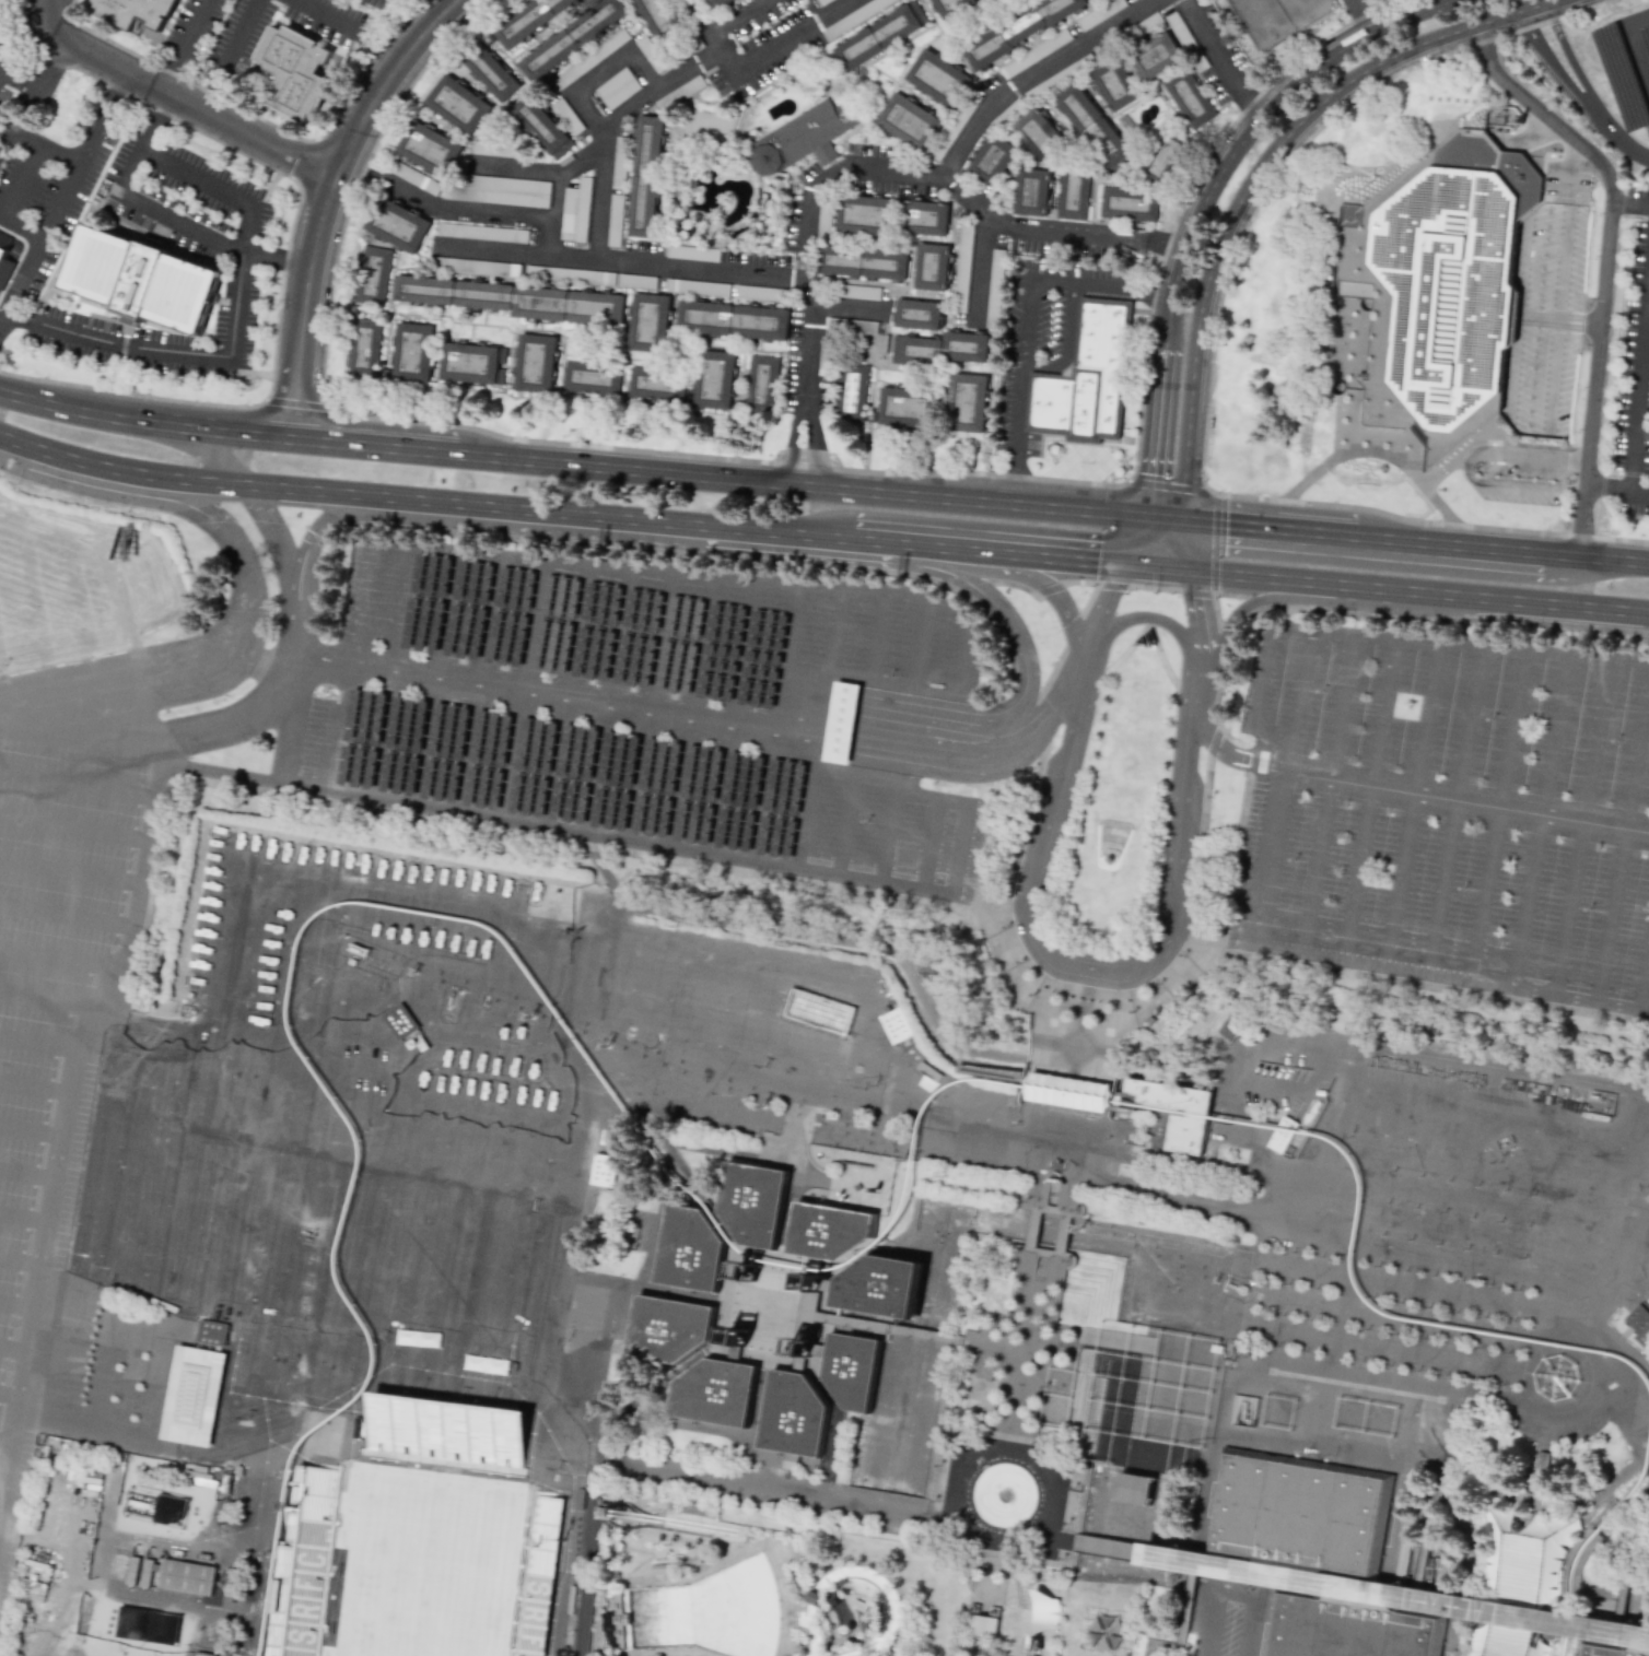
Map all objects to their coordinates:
building: (638, 0)
building: (1094, 0)
building: (820, 1)
building: (1102, 2)
park: (1302, 2)
building: (720, 4)
building: (954, 5)
building: (870, 8)
building: (136, 12)
road: (1404, 14)
building: (659, 15)
road: (733, 16)
building: (1095, 16)
road: (1355, 16)
park: (1262, 19)
building: (534, 22)
building: (1149, 23)
road: (1455, 25)
road: (347, 27)
building: (1024, 32)
building: (885, 37)
road: (1636, 39)
building: (578, 40)
building: (1186, 42)
road: (178, 44)
road: (1212, 45)
building: (650, 54)
building: (1036, 54)
road: (227, 55)
road: (1567, 55)
building: (588, 59)
road: (759, 59)
road: (1548, 60)
road: (1, 69)
road: (1308, 69)
road: (1, 72)
road: (597, 75)
building: (299, 77)
building: (491, 77)
building: (940, 79)
road: (46, 86)
building: (616, 89)
road: (1323, 92)
building: (680, 93)
road: (171, 96)
road: (1248, 104)
building: (458, 109)
building: (566, 116)
road: (154, 121)
building: (911, 126)
building: (542, 128)
road: (610, 129)
building: (799, 136)
building: (948, 137)
road: (15, 139)
road: (1615, 139)
building: (1101, 148)
building: (491, 149)
road: (958, 149)
building: (651, 150)
building: (433, 154)
road: (362, 162)
building: (619, 163)
road: (27, 169)
road: (548, 172)
road: (831, 173)
building: (416, 178)
road: (1214, 178)
building: (499, 190)
road: (1239, 195)
road: (66, 196)
road: (327, 199)
road: (1618, 202)
road: (1637, 204)
building: (644, 209)
road: (460, 211)
building: (575, 211)
road: (554, 215)
building: (615, 220)
building: (824, 221)
road: (187, 227)
building: (398, 230)
building: (481, 233)
building: (891, 240)
road: (1163, 244)
building: (692, 252)
building: (4, 259)
road: (278, 259)
road: (1602, 259)
building: (476, 267)
building: (962, 267)
road: (681, 269)
road: (981, 269)
road: (1176, 274)
building: (580, 275)
building: (376, 278)
building: (142, 279)
road: (1203, 284)
building: (697, 287)
building: (995, 289)
building: (861, 292)
building: (760, 293)
road: (1146, 295)
road: (236, 297)
building: (430, 297)
road: (1648, 301)
building: (486, 302)
building: (541, 307)
road: (846, 307)
building: (1441, 309)
building: (594, 312)
road: (1516, 317)
road: (1559, 319)
road: (5, 320)
road: (1556, 320)
building: (736, 322)
building: (651, 324)
road: (1166, 324)
building: (865, 327)
road: (1026, 330)
road: (1063, 341)
building: (365, 353)
road: (1212, 355)
building: (414, 357)
building: (473, 366)
building: (538, 369)
road: (1161, 376)
building: (926, 377)
building: (593, 379)
building: (717, 381)
building: (1088, 381)
building: (660, 383)
building: (763, 385)
road: (1638, 389)
building: (852, 391)
road: (66, 406)
road: (1188, 414)
road: (213, 428)
road: (794, 437)
road: (815, 439)
road: (375, 444)
road: (1371, 450)
road: (1500, 451)
road: (210, 455)
road: (1153, 460)
road: (120, 469)
road: (724, 477)
road: (1516, 485)
road: (1605, 486)
road: (1014, 488)
road: (1638, 491)
road: (458, 503)
road: (197, 506)
road: (1071, 508)
traffic signals: (1147, 517)
road: (1165, 518)
traffic signals: (1182, 520)
road: (1267, 527)
road: (762, 531)
road: (277, 540)
road: (319, 540)
road: (1135, 540)
road: (1448, 543)
road: (1184, 545)
road: (989, 551)
road: (1594, 557)
road: (911, 563)
traffic signals: (1124, 564)
road: (1155, 567)
traffic signals: (1186, 571)
road: (734, 575)
road: (1417, 591)
road: (1279, 598)
road: (1156, 619)
road: (833, 629)
road: (876, 634)
road: (917, 642)
road: (1017, 642)
road: (1396, 643)
road: (256, 656)
road: (318, 666)
road: (388, 670)
road: (431, 677)
road: (113, 681)
road: (476, 683)
road: (521, 689)
road: (565, 695)
road: (606, 700)
road: (590, 701)
road: (264, 702)
road: (1303, 703)
road: (646, 704)
parking lot: (631, 705)
road: (690, 709)
road: (733, 715)
road: (772, 720)
building: (842, 720)
road: (842, 720)
road: (296, 726)
road: (1036, 728)
road: (82, 729)
road: (338, 729)
road: (914, 732)
road: (1225, 745)
road: (1330, 779)
road: (78, 782)
road: (1371, 786)
road: (1415, 791)
road: (371, 798)
road: (1455, 798)
road: (1457, 798)
parking lot: (1450, 800)
road: (1499, 806)
road: (805, 817)
road: (1541, 819)
road: (845, 824)
road: (1580, 825)
road: (74, 829)
road: (886, 831)
road: (1626, 836)
road: (1277, 842)
road: (928, 843)
road: (599, 864)
road: (70, 877)
road: (914, 888)
road: (990, 900)
road: (67, 918)
road: (1407, 939)
road: (63, 956)
parking lot: (54, 958)
road: (1096, 972)
road: (1644, 973)
road: (47, 1002)
building: (399, 1021)
building: (899, 1026)
building: (1230, 1026)
road: (37, 1044)
building: (931, 1070)
road: (34, 1088)
road: (1475, 1106)
theme park: (806, 1107)
road: (65, 1111)
building: (1186, 1132)
road: (30, 1135)
building: (1283, 1135)
building: (1247, 1140)
railway: (669, 1167)
building: (603, 1171)
road: (26, 1176)
road: (1584, 1187)
building: (756, 1202)
road: (1196, 1202)
road: (23, 1217)
building: (832, 1231)
fountain: (939, 1234)
building: (1453, 1246)
building: (691, 1250)
building: (797, 1256)
road: (20, 1260)
fountain: (1174, 1284)
building: (881, 1287)
road: (15, 1309)
building: (1640, 1325)
building: (669, 1329)
building: (211, 1332)
road: (1609, 1339)
road: (12, 1351)
building: (852, 1370)
building: (716, 1393)
building: (191, 1399)
building: (794, 1416)
road: (564, 1419)
building: (692, 1424)
building: (1101, 1433)
road: (132, 1437)
building: (447, 1437)
road: (4, 1438)
building: (1076, 1480)
road: (1, 1483)
building: (1139, 1489)
fountain: (1004, 1494)
building: (1299, 1503)
building: (144, 1505)
building: (611, 1511)
road: (256, 1541)
railway: (1586, 1546)
road: (587, 1554)
building: (692, 1562)
park: (428, 1564)
building: (313, 1565)
building: (660, 1569)
building: (542, 1575)
building: (187, 1576)
road: (1235, 1597)
building: (858, 1607)
building: (975, 1608)
building: (995, 1611)
building: (619, 1619)
building: (1348, 1630)
building: (982, 1634)
building: (1610, 1649)
building: (656, 1654)

